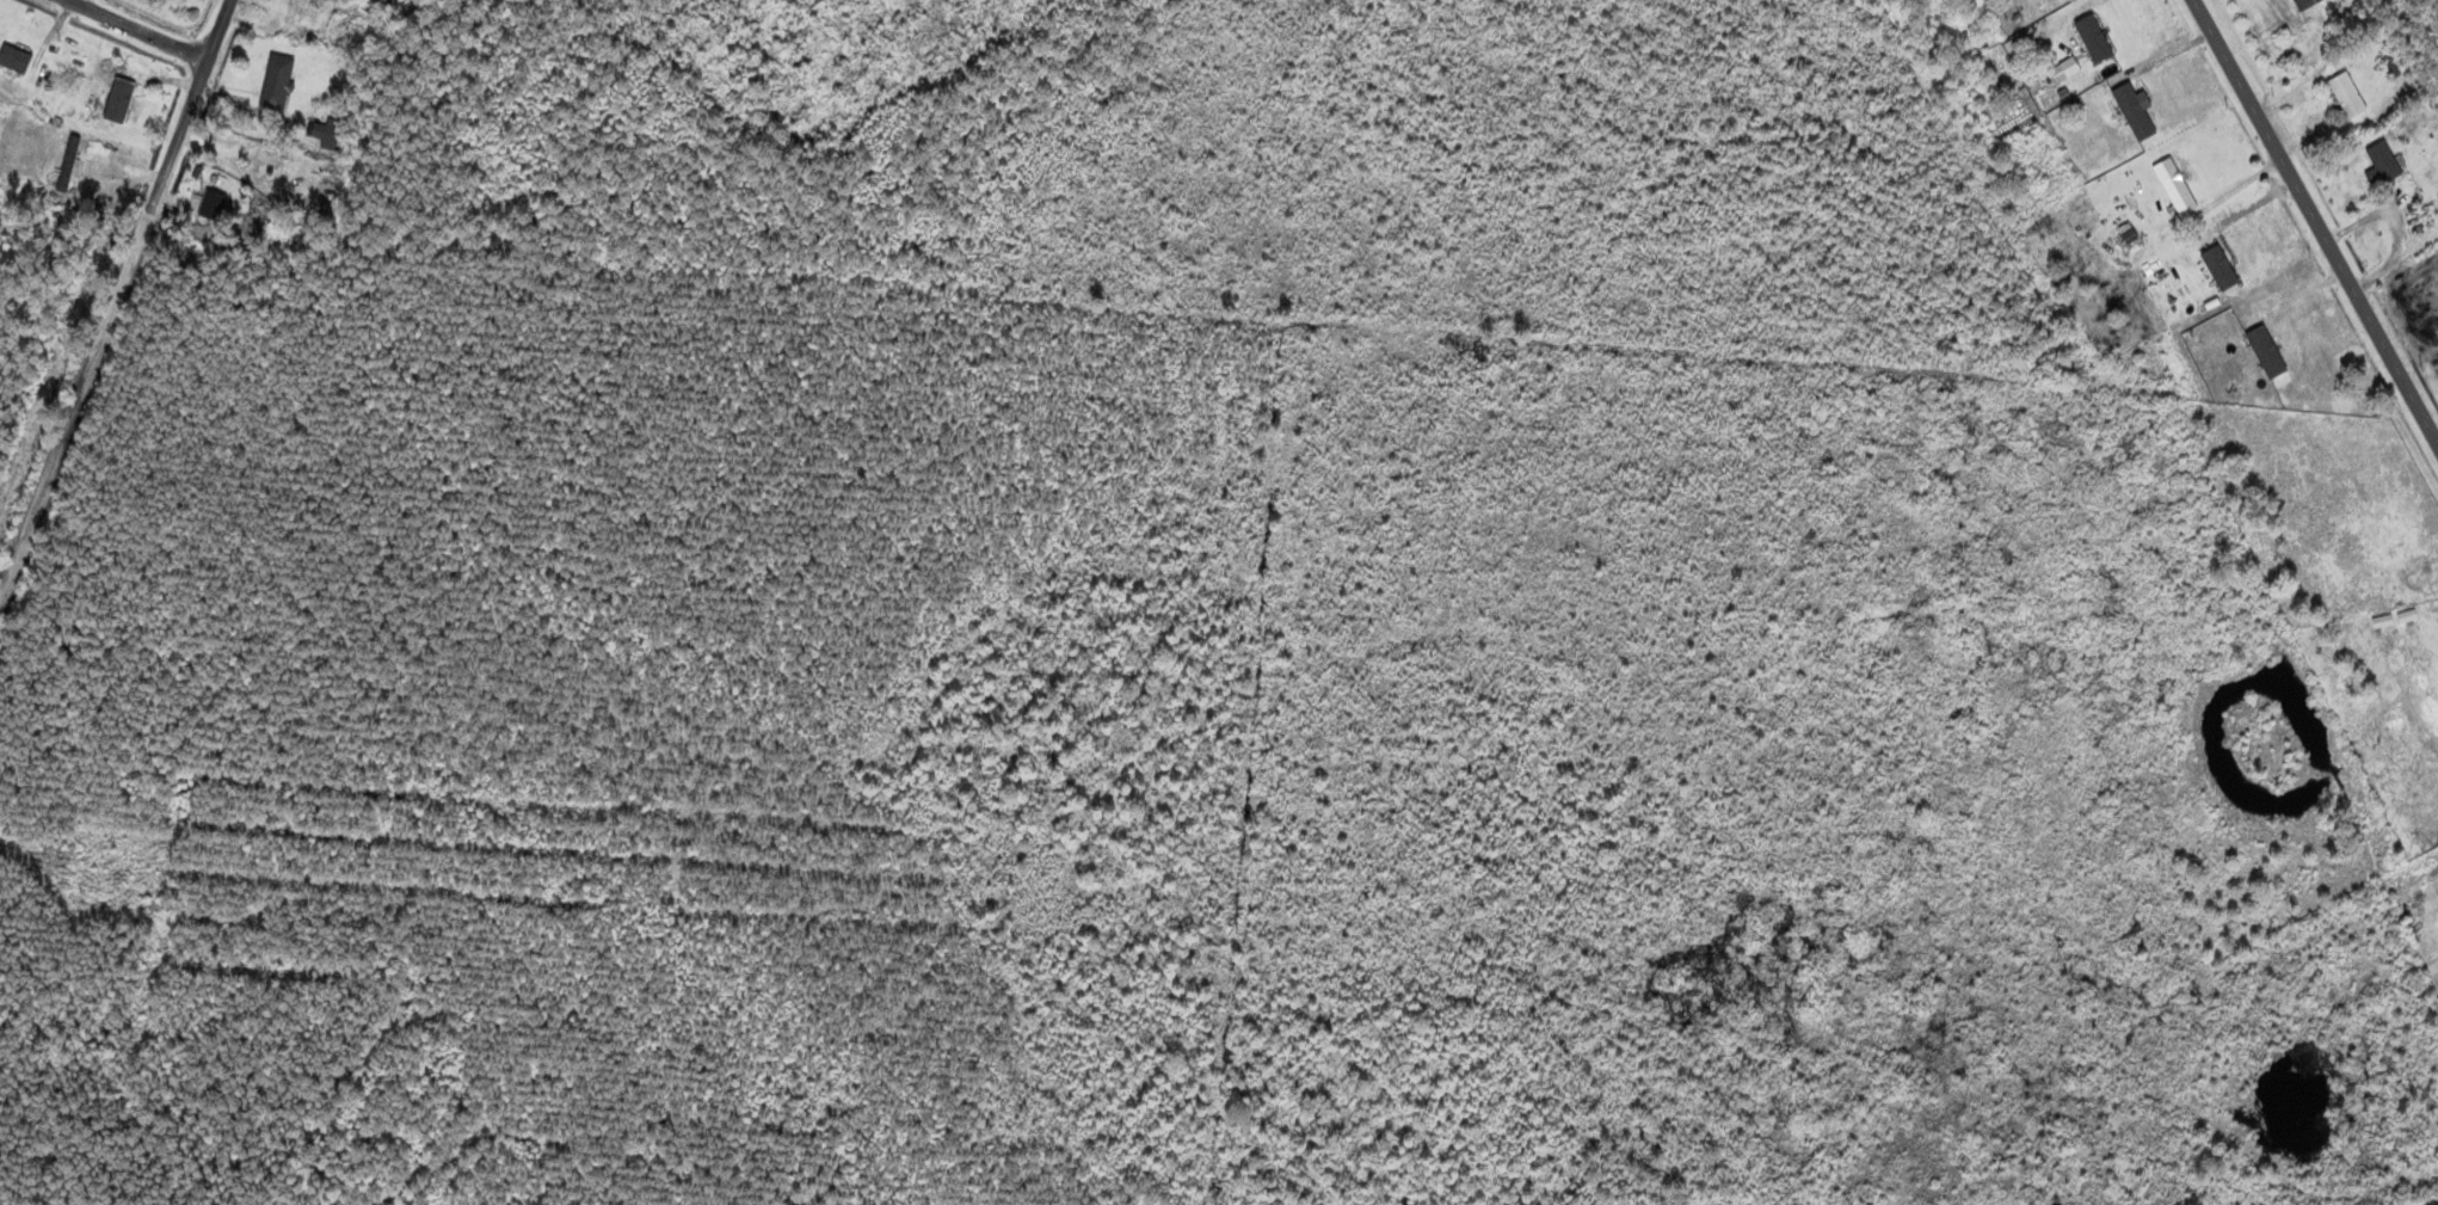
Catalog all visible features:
building: (390, 0)
building: (2308, 2)
building: (290, 13)
road: (143, 27)
building: (14, 57)
building: (277, 81)
building: (2347, 93)
building: (122, 106)
building: (2383, 160)
building: (2174, 185)
building: (211, 204)
road: (2316, 217)
road: (115, 302)
building: (2433, 912)

